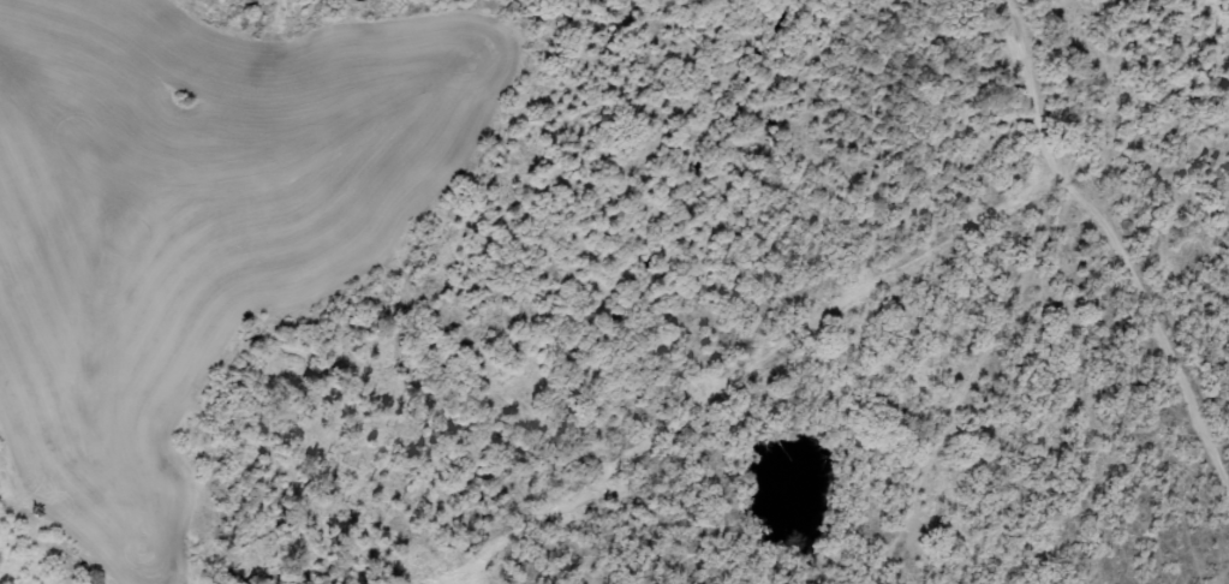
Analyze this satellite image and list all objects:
road: (1117, 94)
road: (1042, 322)
road: (201, 517)

